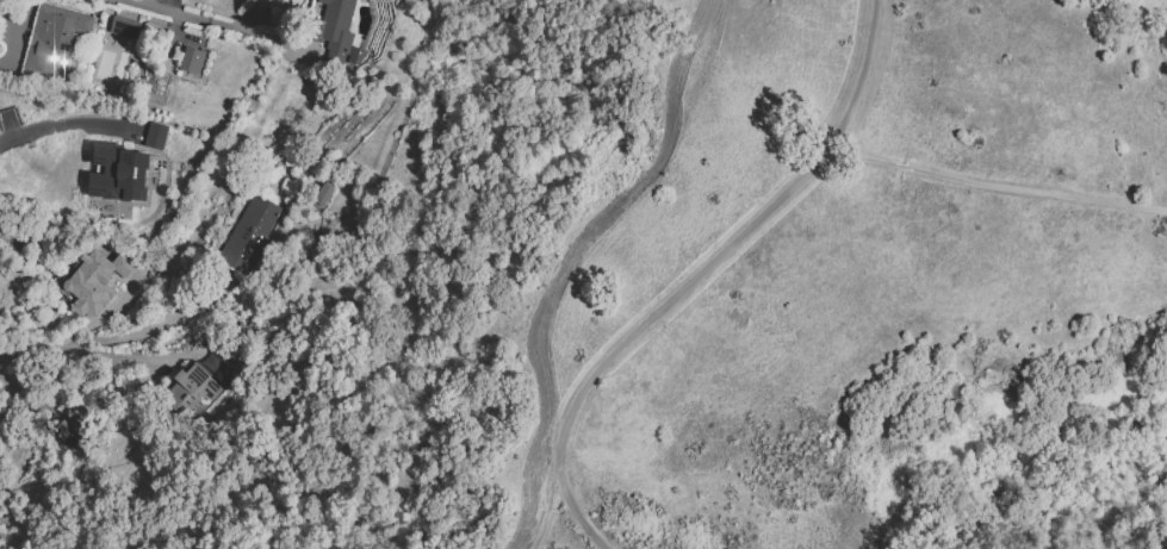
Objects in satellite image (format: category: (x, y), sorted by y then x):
road: (207, 20)
building: (123, 27)
building: (337, 30)
building: (52, 38)
building: (191, 60)
road: (66, 120)
building: (154, 136)
road: (836, 158)
building: (117, 173)
road: (997, 185)
building: (322, 195)
building: (248, 238)
road: (702, 277)
building: (92, 281)
road: (105, 341)
road: (128, 388)
building: (201, 388)
building: (69, 432)
road: (545, 512)

